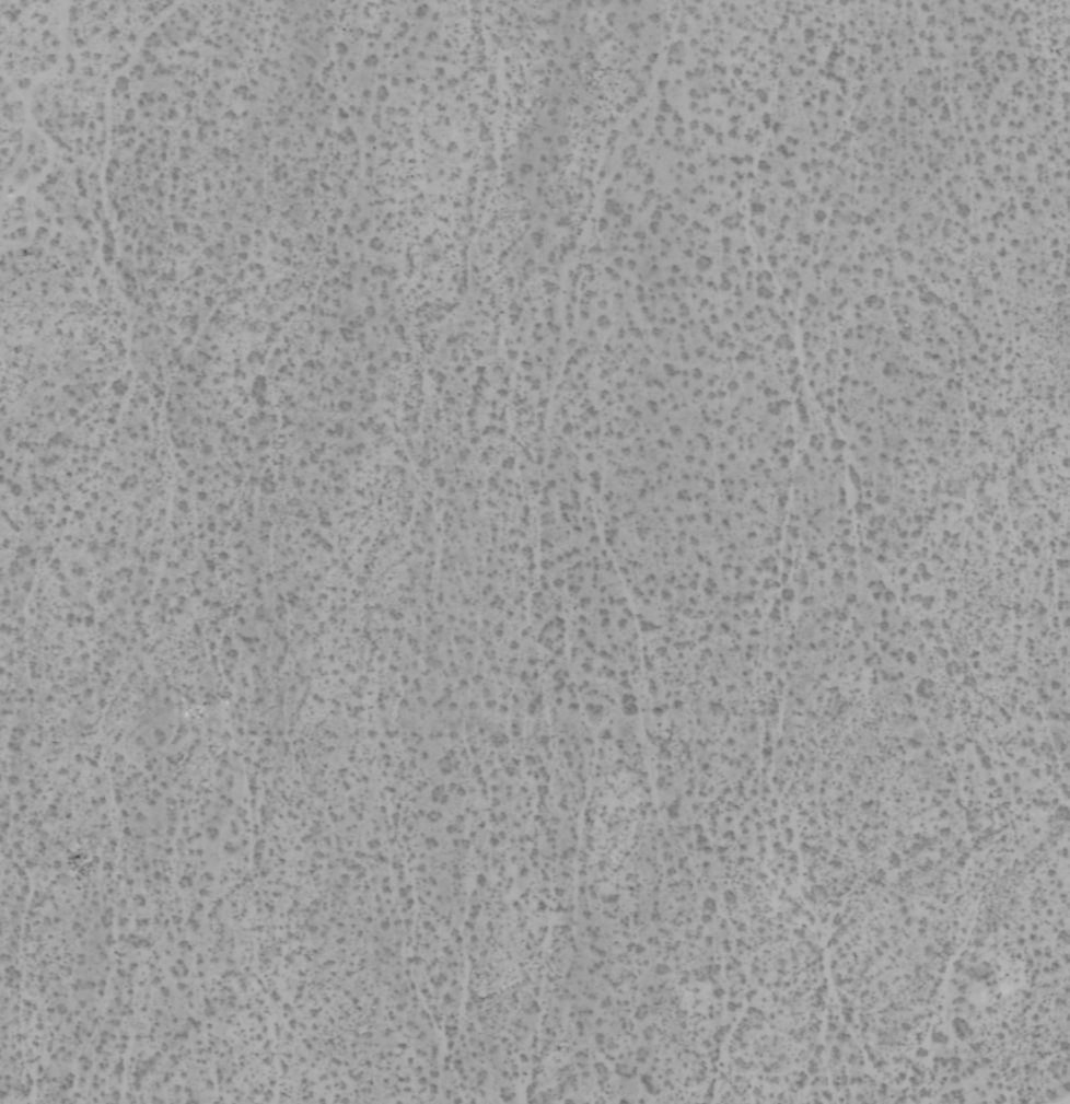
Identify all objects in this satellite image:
road: (1069, 1103)

